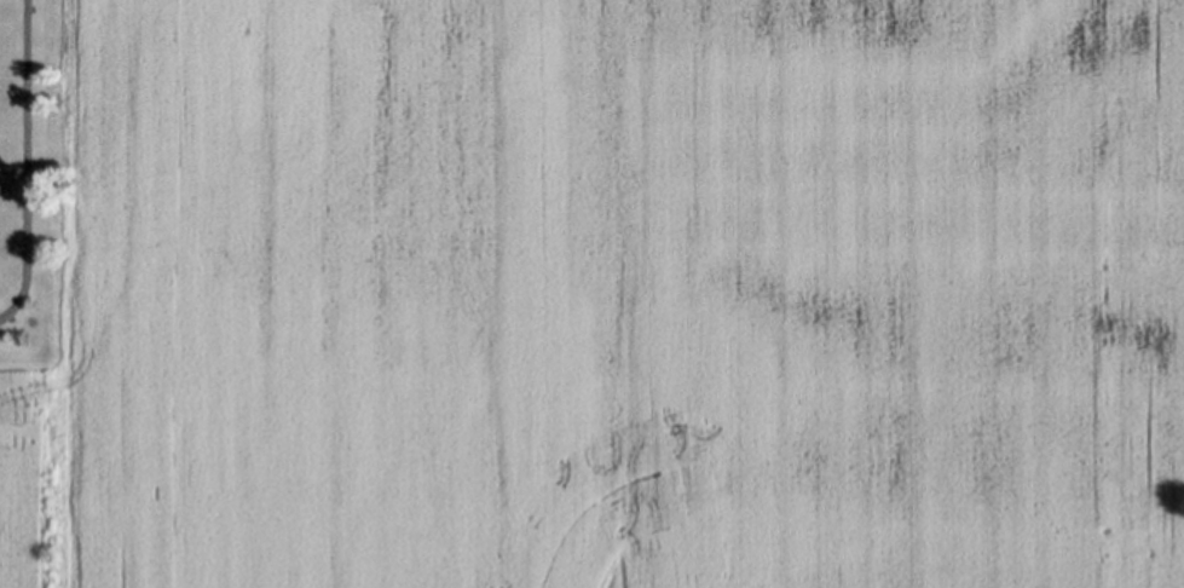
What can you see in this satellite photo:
road: (23, 160)
park: (29, 180)
crop: (637, 294)
crop: (24, 483)

